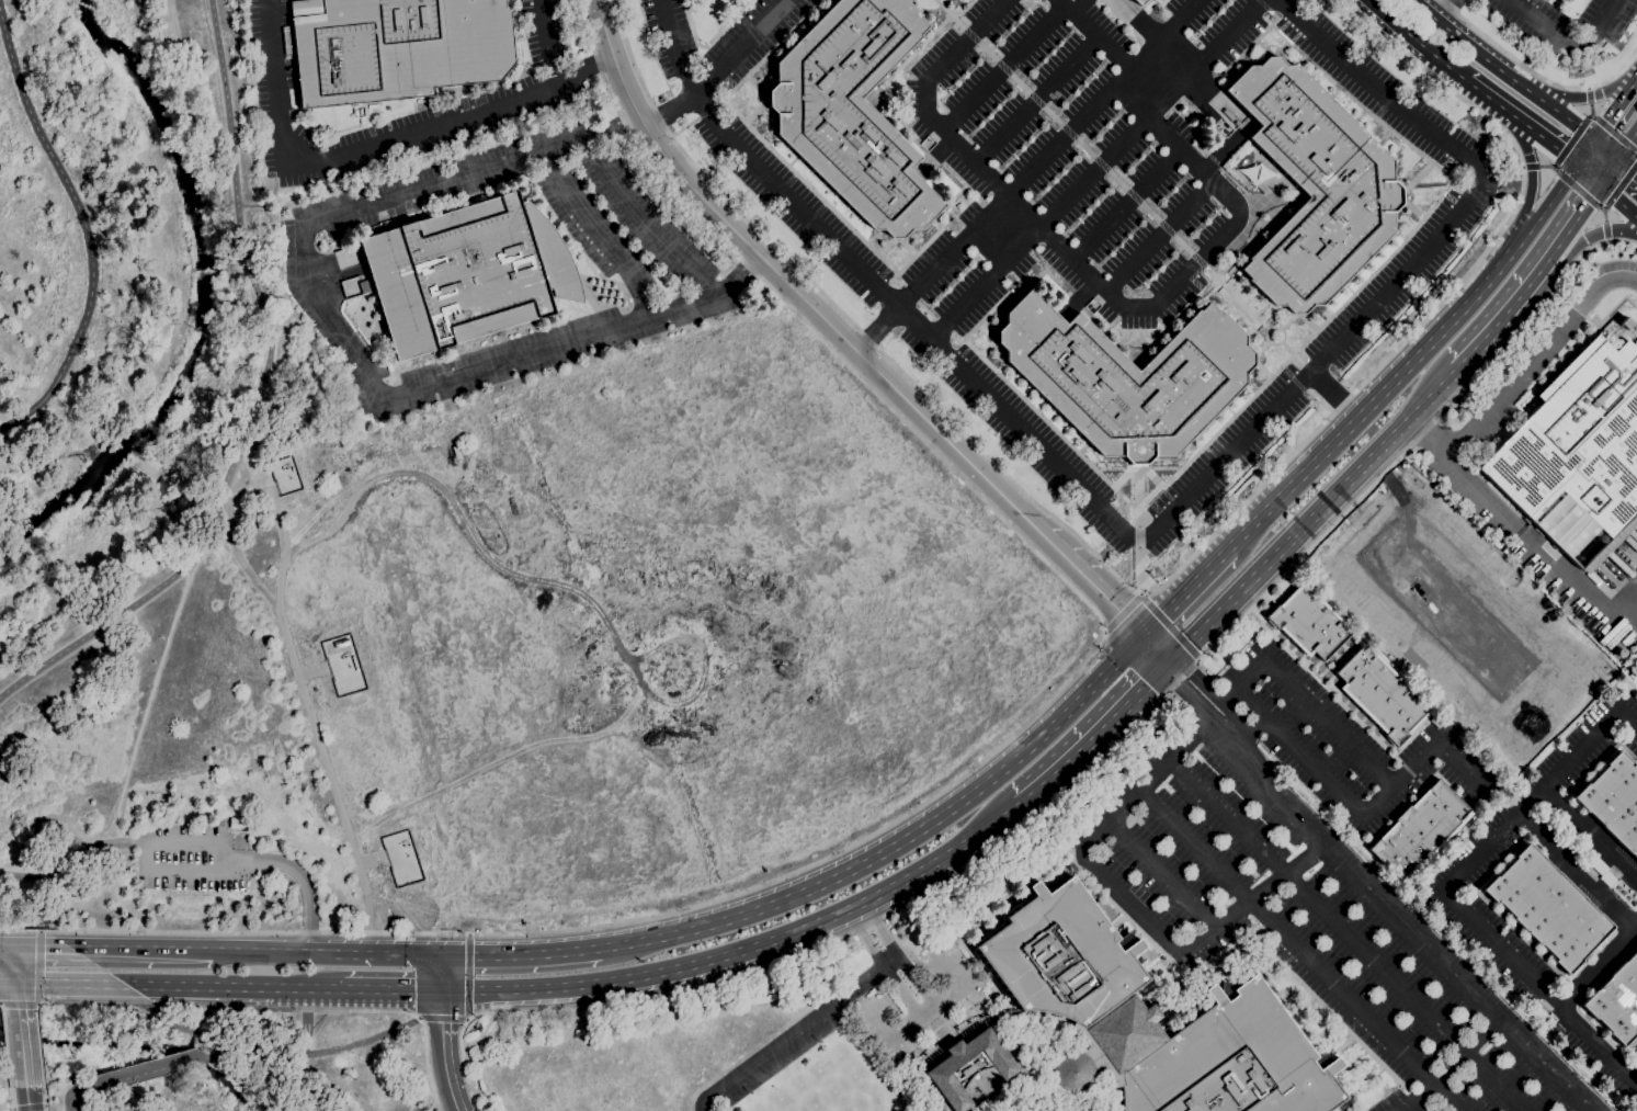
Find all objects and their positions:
building: (1138, 2)
road: (1444, 10)
road: (1568, 38)
road: (1417, 41)
road: (550, 44)
building: (396, 47)
road: (1510, 56)
road: (725, 67)
road: (1003, 70)
road: (1501, 71)
road: (1588, 89)
road: (1585, 95)
road: (1033, 98)
road: (1615, 109)
building: (853, 111)
building: (1231, 117)
road: (1533, 131)
road: (1578, 131)
road: (1613, 133)
road: (379, 144)
road: (1627, 144)
parking lot: (1076, 146)
road: (1585, 151)
road: (1615, 157)
road: (1523, 167)
road: (1098, 171)
road: (1028, 173)
road: (1567, 180)
building: (1315, 186)
road: (1530, 186)
road: (1613, 199)
road: (1618, 201)
road: (1125, 205)
road: (1582, 209)
road: (1541, 211)
road: (643, 220)
park: (61, 230)
road: (84, 234)
road: (595, 235)
road: (1589, 235)
road: (1159, 238)
road: (1607, 240)
building: (467, 273)
building: (367, 286)
river: (201, 299)
road: (1126, 313)
road: (1504, 317)
building: (1625, 322)
road: (351, 341)
road: (860, 348)
road: (1539, 360)
building: (1126, 377)
road: (1334, 395)
road: (253, 399)
road: (1369, 407)
building: (1578, 444)
building: (456, 453)
road: (252, 474)
road: (1315, 514)
road: (1523, 531)
road: (1150, 534)
road: (241, 556)
road: (1152, 589)
road: (1186, 590)
road: (1122, 612)
building: (1309, 623)
road: (1169, 626)
building: (1627, 637)
building: (340, 643)
building: (353, 661)
road: (1244, 680)
road: (1217, 692)
building: (1379, 694)
road: (1201, 705)
road: (1123, 710)
road: (1329, 723)
road: (314, 724)
road: (1253, 727)
parking lot: (1332, 739)
road: (994, 749)
road: (1299, 753)
road: (1420, 760)
road: (1084, 774)
road: (1046, 783)
building: (1614, 801)
road: (1261, 820)
building: (236, 823)
building: (1421, 831)
road: (1589, 837)
road: (900, 840)
road: (80, 851)
parking lot: (197, 859)
road: (268, 862)
building: (1056, 863)
road: (1577, 872)
building: (1603, 872)
road: (1161, 874)
road: (1445, 888)
road: (1126, 897)
building: (1547, 907)
building: (1104, 909)
road: (9, 922)
building: (1112, 928)
road: (21, 930)
road: (792, 930)
road: (1402, 930)
parking lot: (1312, 931)
road: (1348, 933)
road: (9, 943)
traffic signals: (18, 944)
road: (42, 945)
road: (136, 946)
road: (269, 948)
road: (1300, 950)
road: (387, 953)
traffic signals: (442, 955)
road: (520, 955)
road: (16, 963)
road: (37, 967)
road: (1599, 967)
road: (442, 972)
road: (86, 974)
road: (466, 976)
traffic signals: (16, 982)
road: (62, 982)
road: (198, 985)
road: (308, 988)
road: (393, 988)
traffic signals: (442, 988)
road: (490, 989)
road: (56, 1000)
road: (921, 1000)
building: (1616, 1000)
road: (18, 1004)
road: (334, 1008)
building: (1537, 1012)
road: (821, 1016)
road: (441, 1017)
building: (1150, 1019)
road: (305, 1020)
road: (19, 1030)
road: (212, 1033)
road: (4, 1043)
road: (1341, 1046)
road: (342, 1047)
river: (136, 1050)
road: (444, 1050)
road: (232, 1054)
parking lot: (777, 1065)
road: (921, 1066)
building: (971, 1067)
road: (151, 1068)
road: (1448, 1069)
road: (1635, 1075)
road: (345, 1081)
road: (76, 1090)
road: (10, 1095)
road: (26, 1095)
road: (43, 1095)
road: (27, 1108)
road: (64, 1109)

